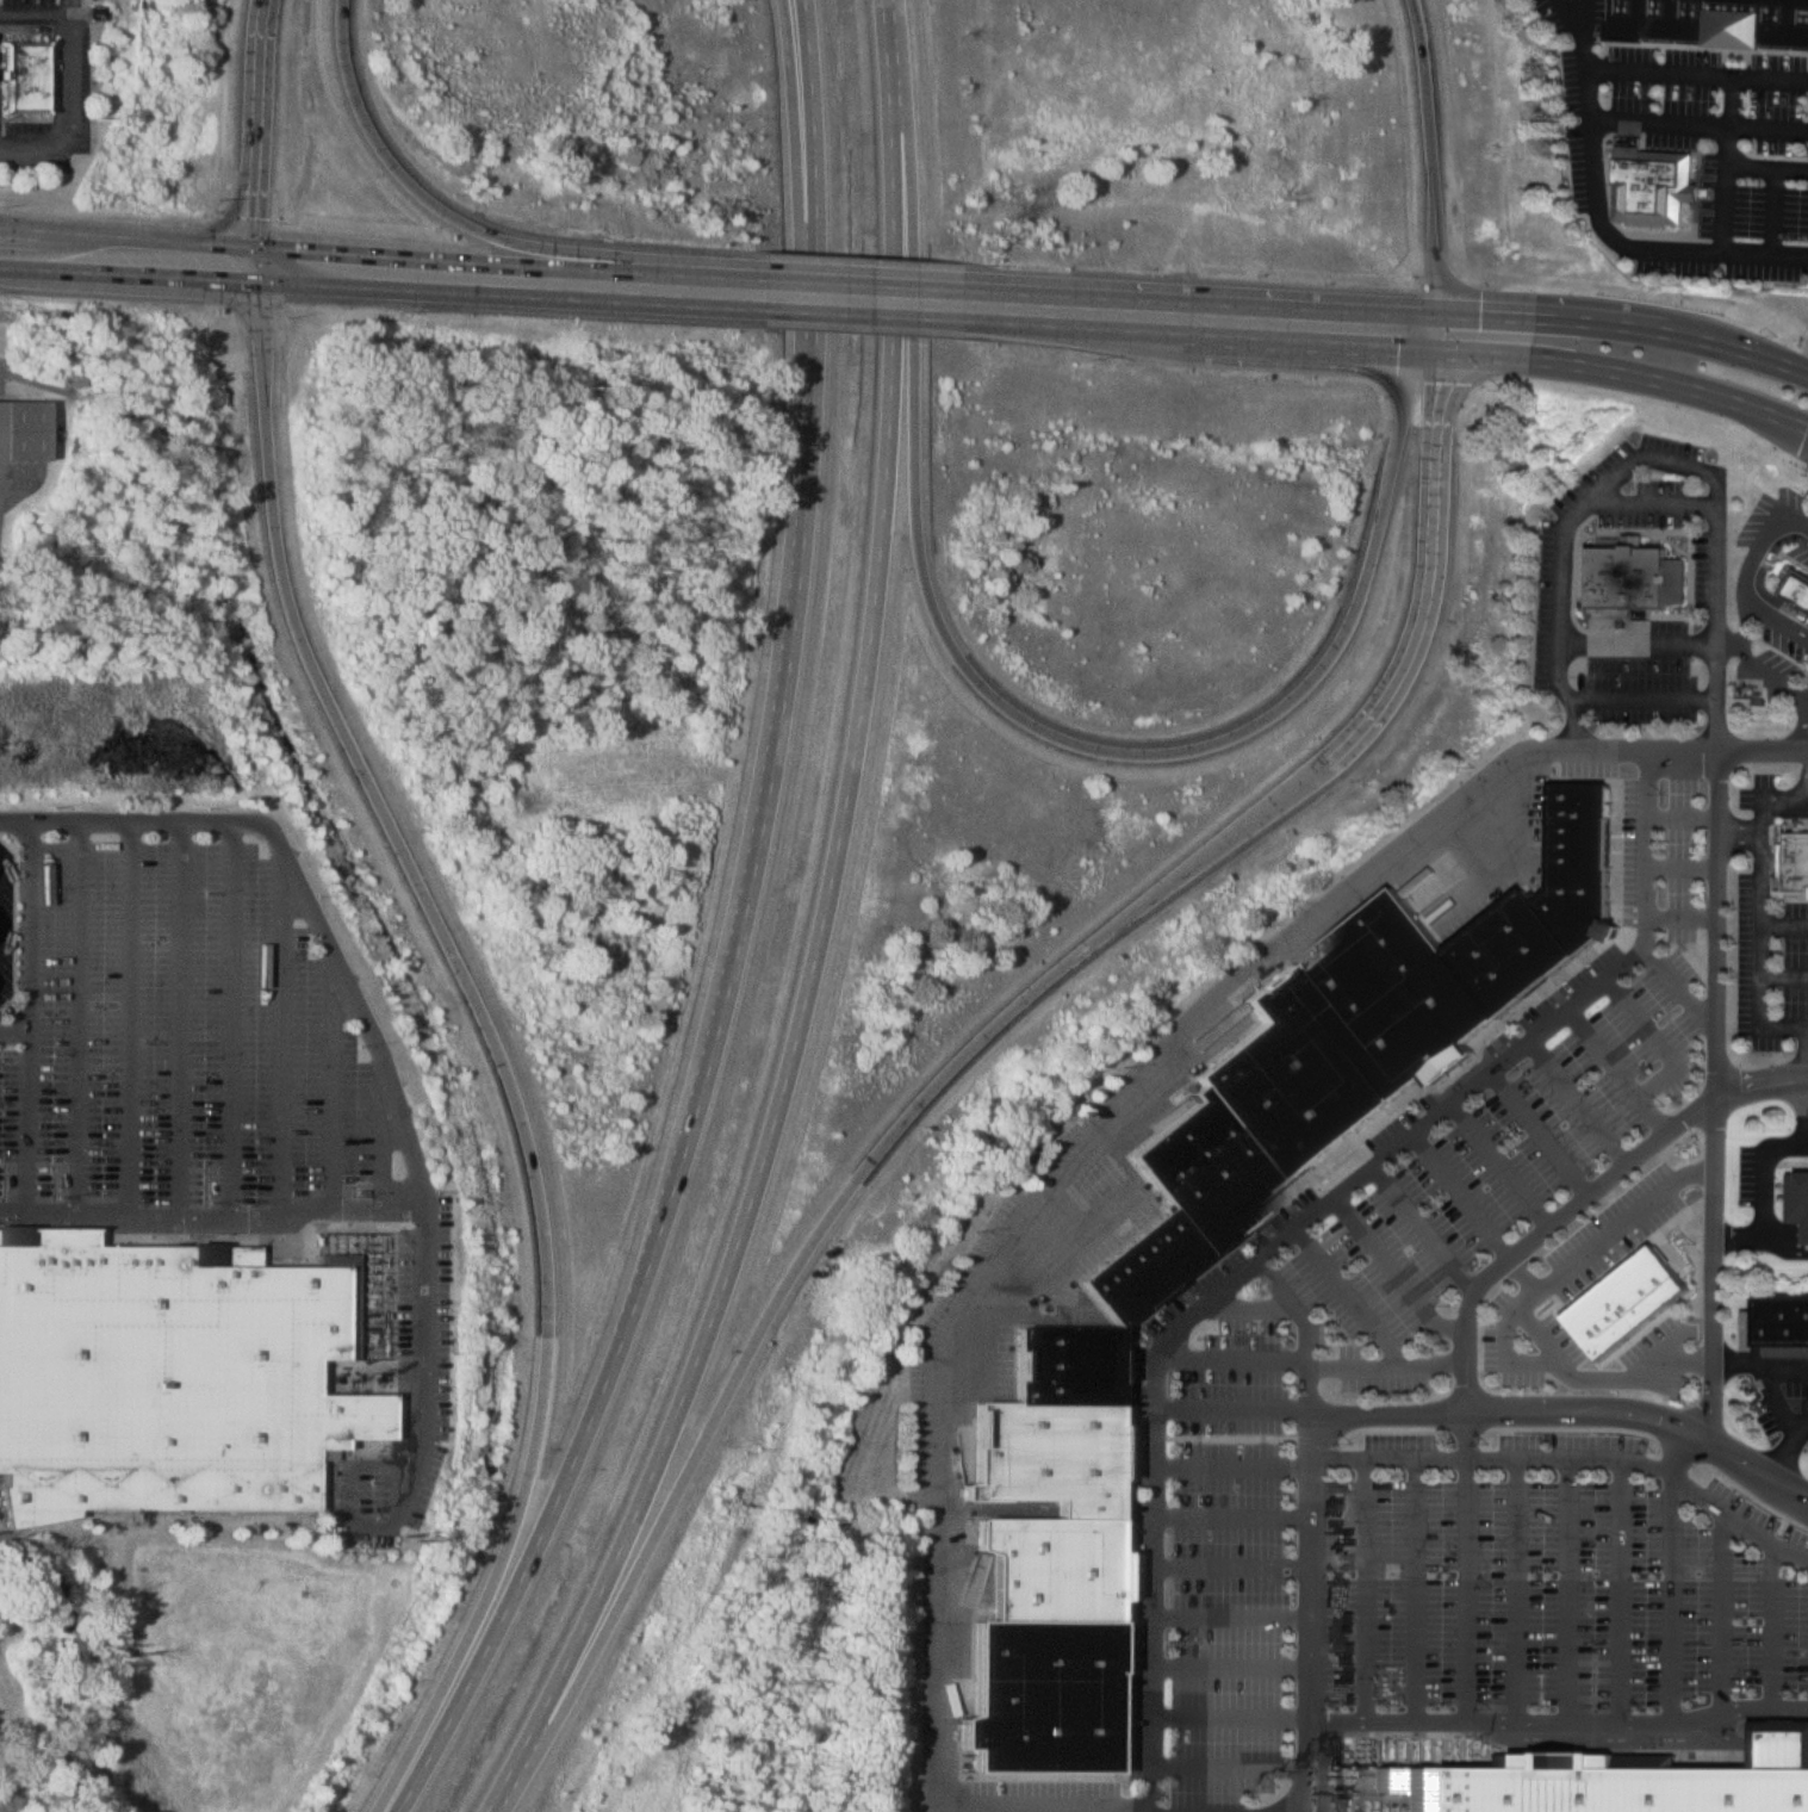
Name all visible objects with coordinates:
road: (1570, 18)
road: (1609, 20)
building: (1710, 20)
road: (1595, 37)
road: (1706, 46)
road: (1603, 52)
road: (1720, 62)
road: (1746, 63)
road: (1695, 74)
building: (23, 76)
road: (67, 105)
road: (253, 120)
road: (1657, 123)
road: (1767, 128)
parking lot: (1698, 138)
road: (1425, 155)
road: (1725, 165)
road: (1766, 167)
road: (796, 168)
building: (1651, 185)
road: (1770, 211)
road: (454, 217)
road: (1597, 221)
road: (125, 235)
traffic signals: (250, 243)
road: (479, 259)
road: (249, 260)
road: (124, 269)
road: (733, 277)
traffic signals: (249, 278)
road: (856, 284)
road: (502, 291)
road: (1199, 300)
road: (855, 310)
road: (1628, 324)
road: (1154, 329)
road: (1443, 329)
road: (1398, 343)
road: (1628, 368)
building: (20, 427)
road: (1649, 502)
road: (1762, 540)
road: (1558, 546)
parking lot: (1553, 576)
building: (1624, 576)
building: (1795, 589)
parking lot: (1753, 608)
road: (1715, 610)
road: (1776, 619)
road: (1634, 639)
road: (1745, 644)
road: (1777, 678)
road: (1642, 699)
road: (1009, 710)
road: (1763, 746)
road: (1644, 749)
road: (1807, 777)
parking lot: (1771, 795)
road: (1807, 795)
road: (1767, 799)
building: (1791, 864)
road: (1759, 877)
road: (819, 935)
road: (740, 937)
parking lot: (1765, 968)
road: (1783, 970)
road: (1680, 991)
road: (1757, 992)
road: (26, 1014)
road: (80, 1014)
road: (130, 1014)
road: (180, 1014)
road: (232, 1014)
road: (1645, 1023)
building: (1348, 1028)
road: (288, 1037)
road: (489, 1041)
road: (383, 1048)
road: (969, 1048)
road: (1807, 1057)
road: (1621, 1068)
road: (336, 1084)
road: (1716, 1092)
road: (1580, 1100)
road: (1540, 1134)
road: (1503, 1161)
road: (1058, 1165)
road: (1764, 1169)
parking lot: (1742, 1177)
road: (1465, 1192)
building: (1798, 1200)
road: (1583, 1202)
road: (259, 1210)
road: (48, 1211)
road: (1427, 1224)
road: (1293, 1228)
parking lot: (1595, 1233)
road: (1739, 1234)
road: (1785, 1243)
road: (1397, 1270)
road: (1353, 1295)
building: (1627, 1302)
parking lot: (1373, 1304)
road: (1512, 1311)
building: (1782, 1322)
road: (1305, 1324)
road: (1234, 1354)
road: (1742, 1360)
road: (1790, 1361)
road: (1388, 1365)
building: (168, 1374)
road: (1234, 1404)
road: (1773, 1404)
road: (1505, 1409)
parking lot: (1777, 1411)
road: (1784, 1453)
road: (1391, 1456)
road: (1571, 1456)
road: (1235, 1465)
road: (1750, 1467)
road: (1234, 1516)
road: (1738, 1522)
building: (1044, 1535)
parking lot: (1565, 1562)
road: (1232, 1565)
road: (1467, 1565)
road: (1671, 1574)
road: (1367, 1588)
road: (1421, 1588)
road: (1520, 1588)
road: (1570, 1589)
road: (1622, 1590)
road: (1720, 1613)
road: (1313, 1614)
road: (1232, 1616)
road: (1773, 1625)
river: (69, 1662)
road: (1232, 1664)
road: (1231, 1713)
road: (1561, 1721)
road: (1230, 1769)
building: (1623, 1781)
road: (1035, 1798)
road: (1298, 1807)

